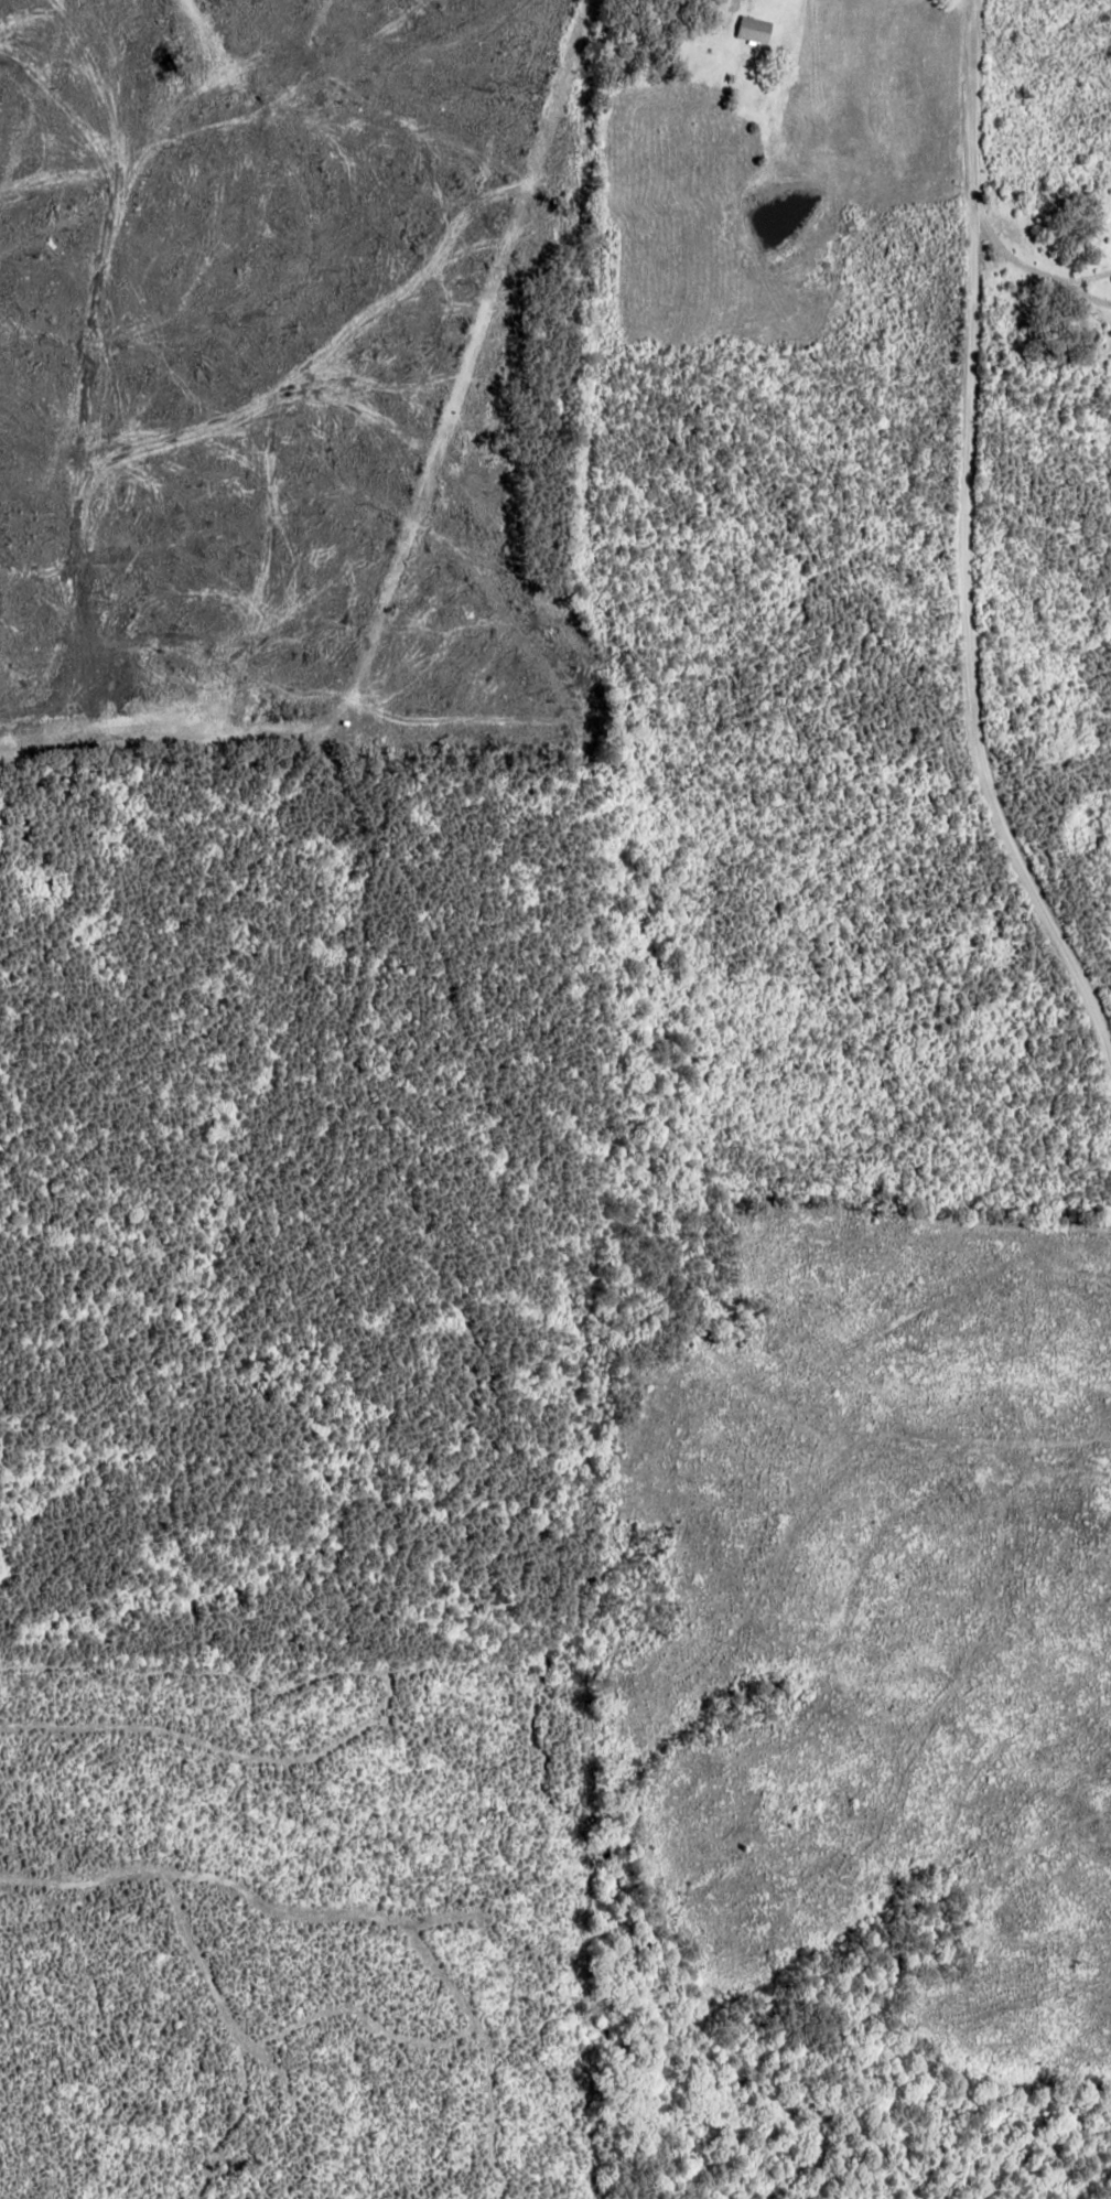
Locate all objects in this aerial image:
building: (755, 29)
road: (982, 572)

